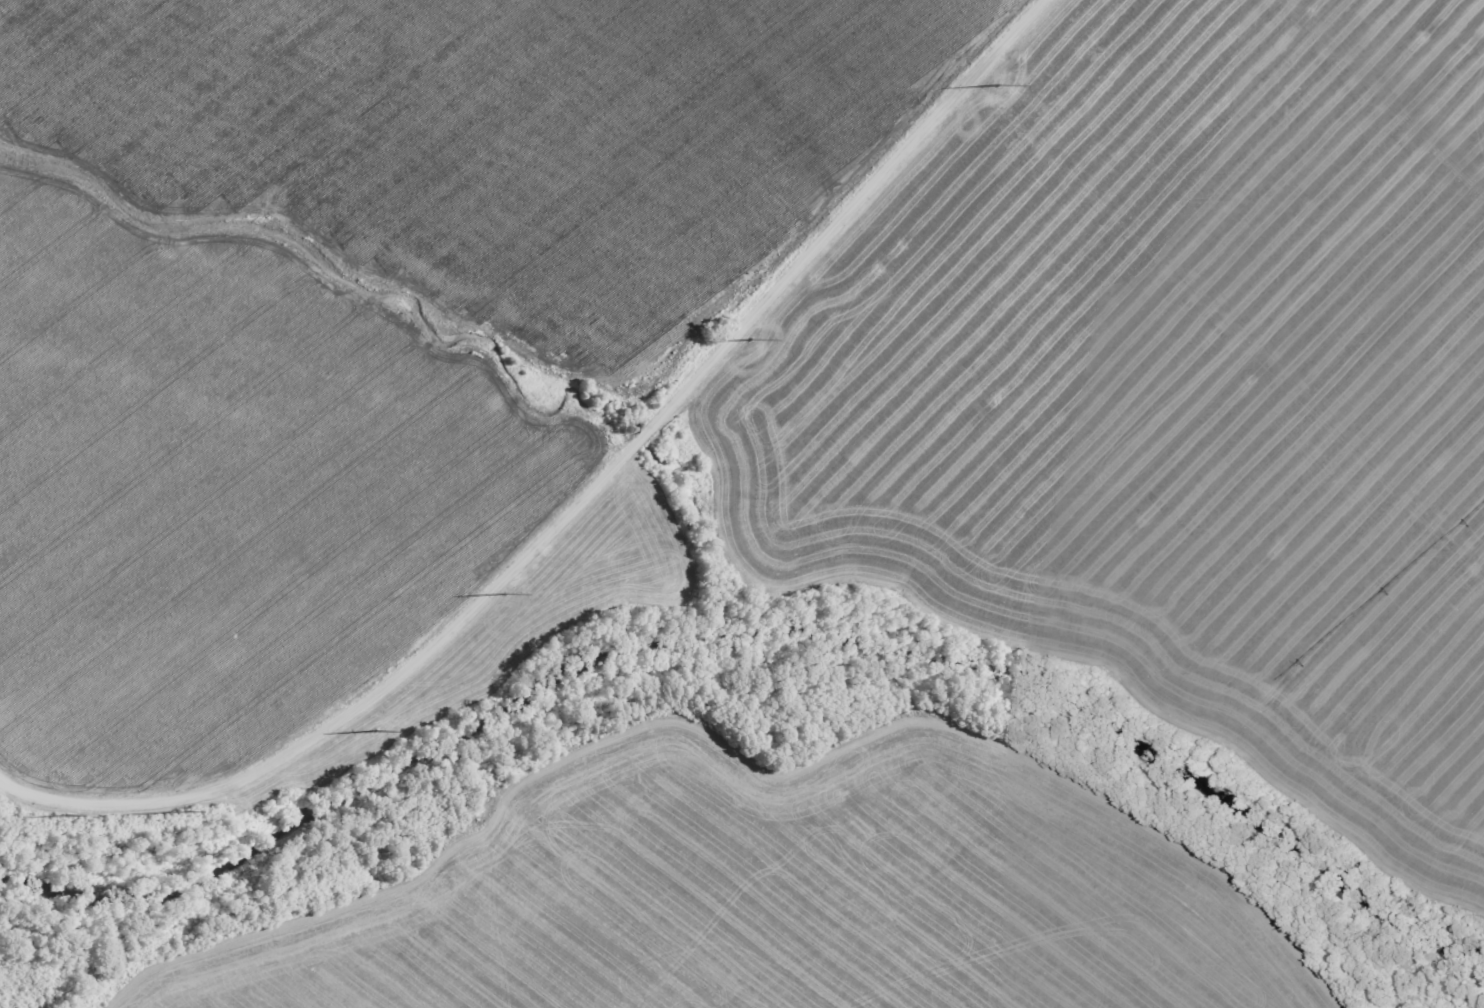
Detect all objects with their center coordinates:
power tower: (998, 84)
power tower: (752, 339)
road: (570, 494)
power tower: (505, 596)
power tower: (375, 732)
power tower: (182, 813)
power tower: (63, 817)

